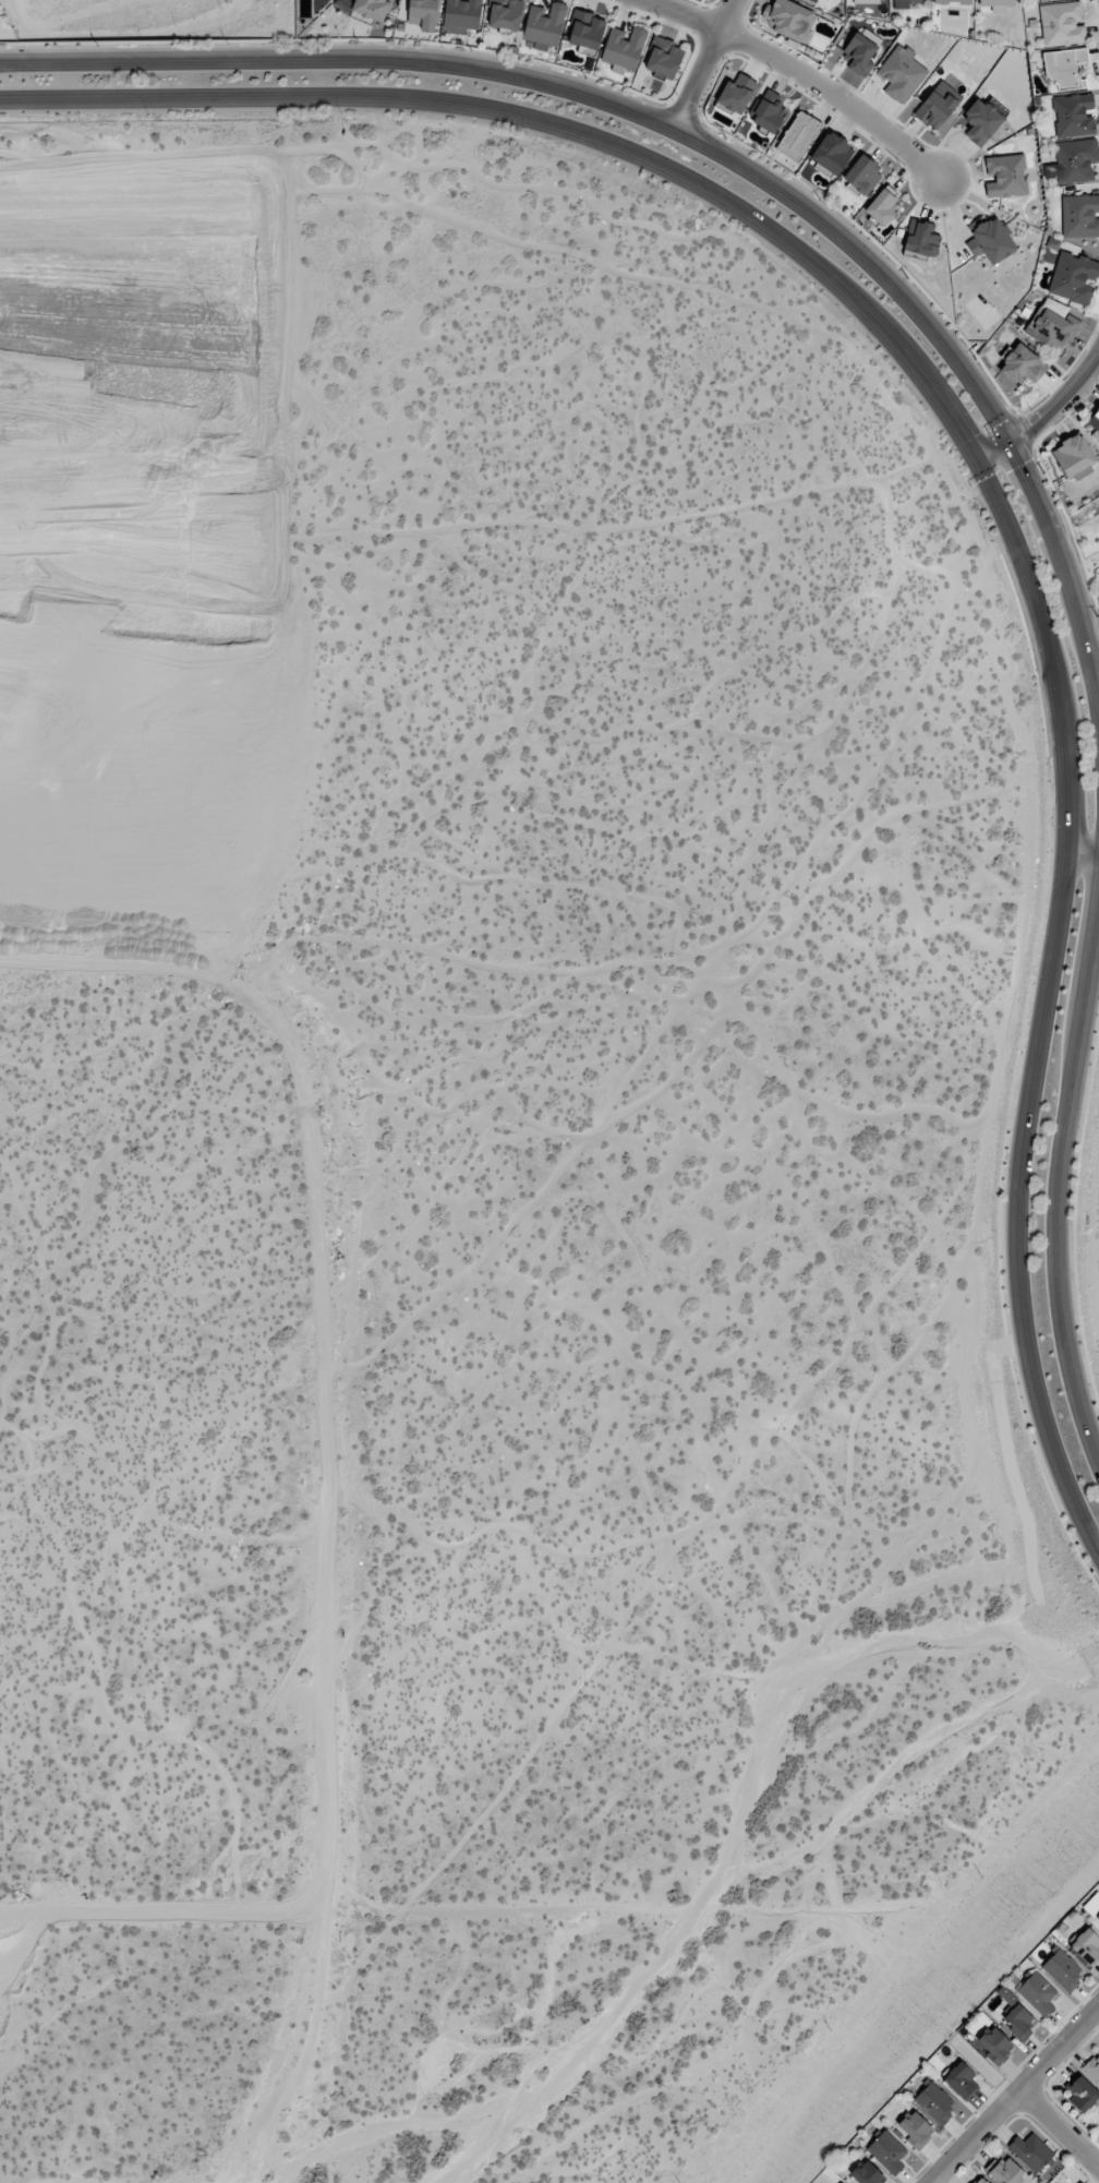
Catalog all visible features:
building: (867, 1)
building: (953, 1)
building: (817, 2)
building: (907, 3)
building: (997, 4)
building: (372, 9)
building: (462, 13)
building: (423, 14)
building: (505, 14)
building: (790, 20)
building: (1062, 24)
building: (544, 25)
building: (585, 32)
building: (624, 48)
building: (860, 51)
building: (664, 57)
road: (704, 64)
building: (1064, 67)
road: (802, 73)
building: (901, 74)
building: (736, 94)
road: (49, 98)
building: (938, 105)
building: (769, 111)
building: (1072, 115)
building: (981, 121)
building: (798, 135)
road: (708, 146)
building: (832, 154)
building: (1075, 160)
building: (862, 175)
building: (1005, 176)
building: (883, 206)
building: (1079, 215)
building: (922, 239)
building: (990, 240)
building: (1005, 263)
building: (1074, 277)
building: (1051, 327)
building: (1022, 365)
road: (1044, 415)
building: (1094, 421)
building: (1073, 457)
road: (1000, 511)
park: (1086, 550)
road: (1083, 852)
road: (1059, 1179)
building: (1092, 1906)
building: (1086, 1946)
building: (1062, 1970)
building: (1037, 1993)
building: (1019, 2022)
building: (995, 2044)
building: (1094, 2068)
building: (962, 2080)
building: (1082, 2095)
road: (1018, 2097)
building: (934, 2102)
building: (915, 2128)
road: (1061, 2128)
building: (887, 2151)
building: (1031, 2151)
building: (1005, 2171)
building: (867, 2173)
building: (979, 2180)

